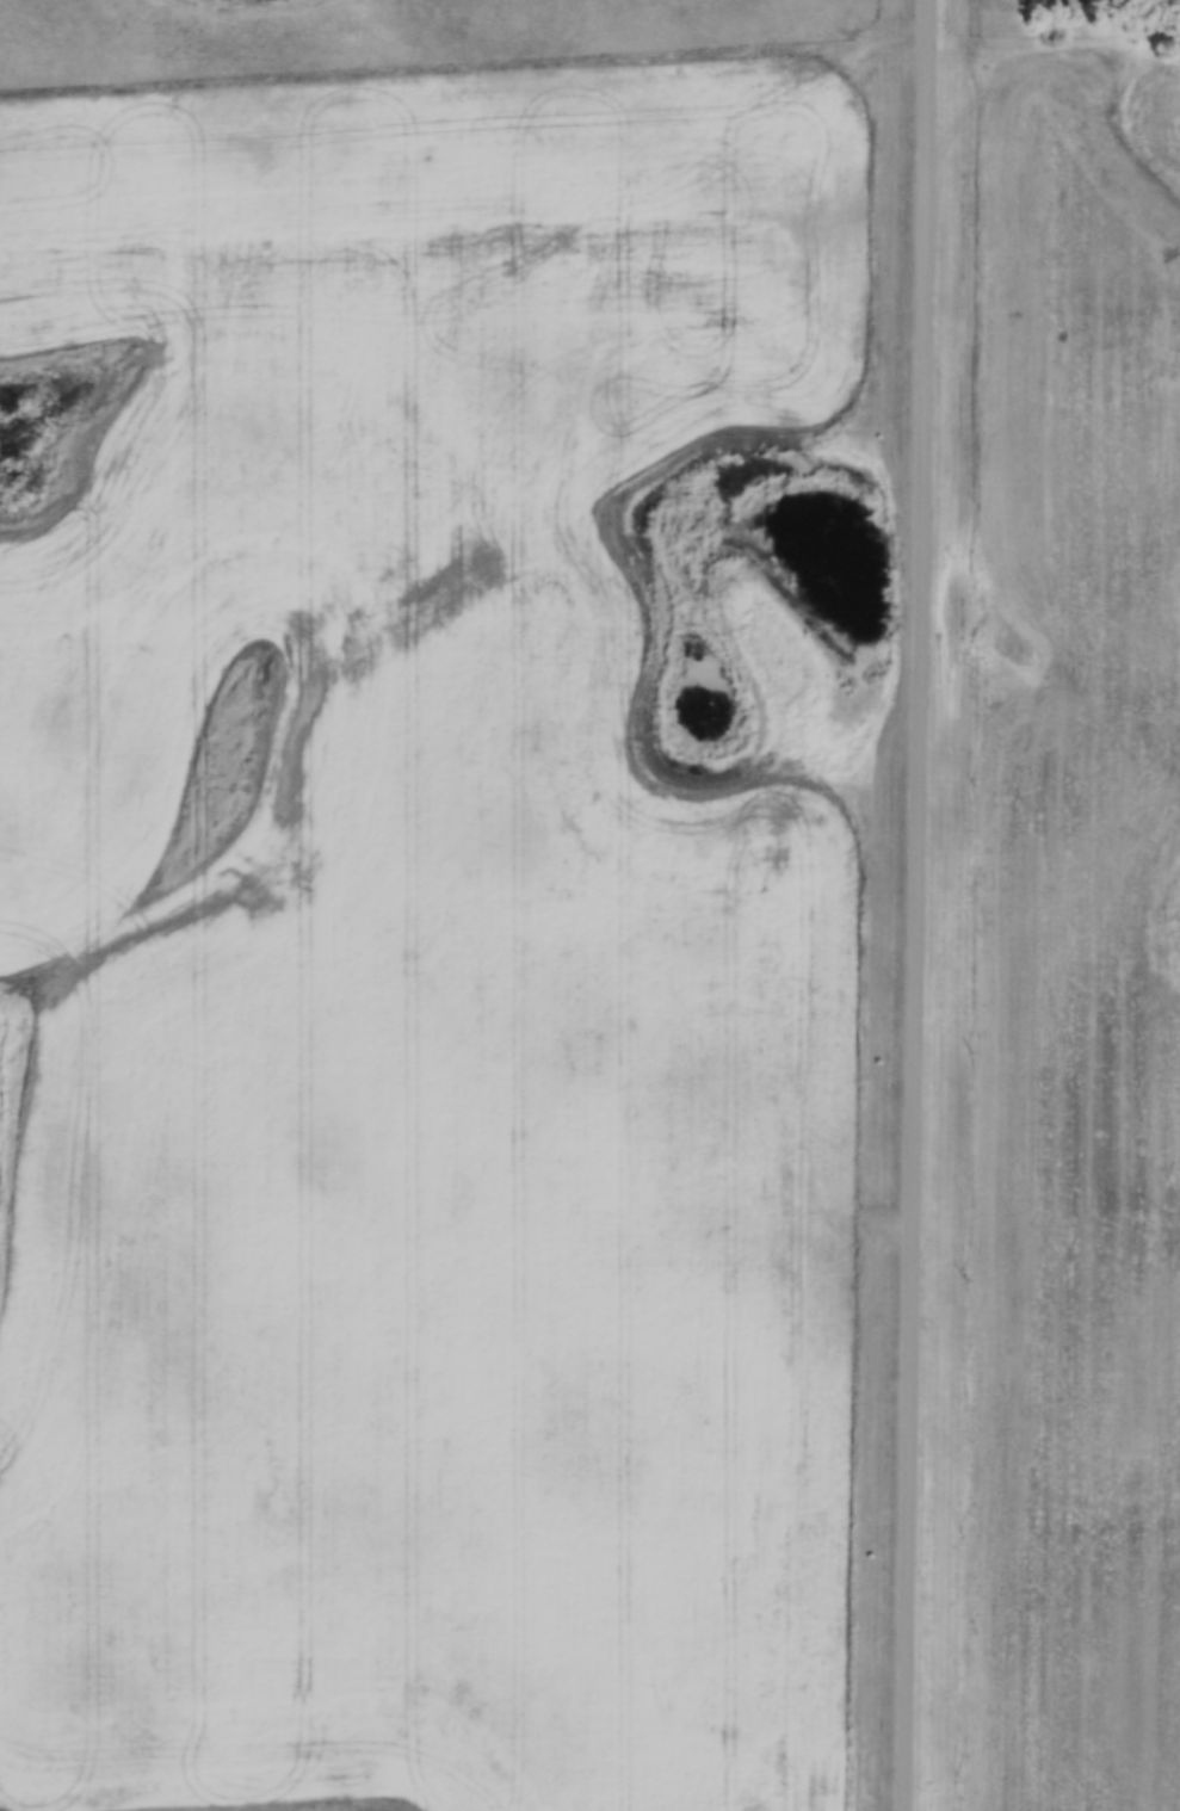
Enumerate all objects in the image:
road: (921, 905)

